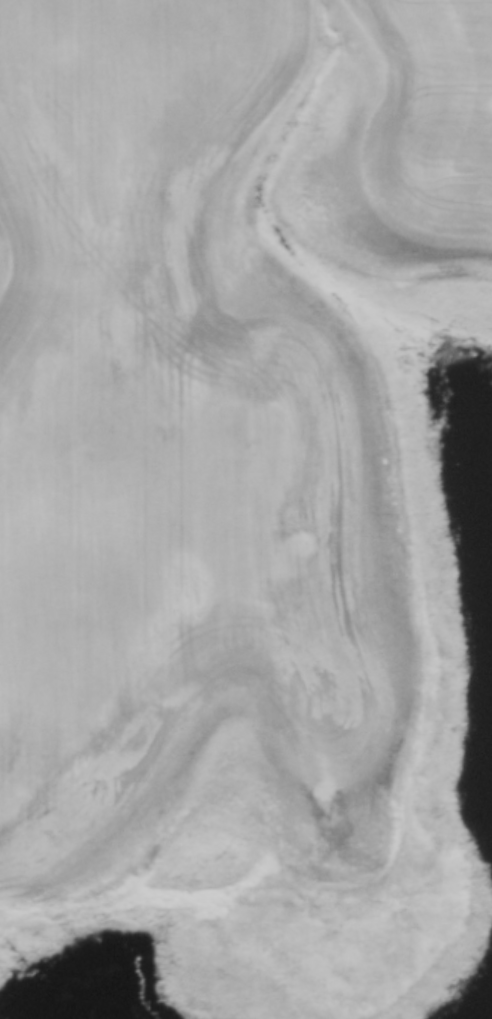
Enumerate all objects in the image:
road: (246, 905)

